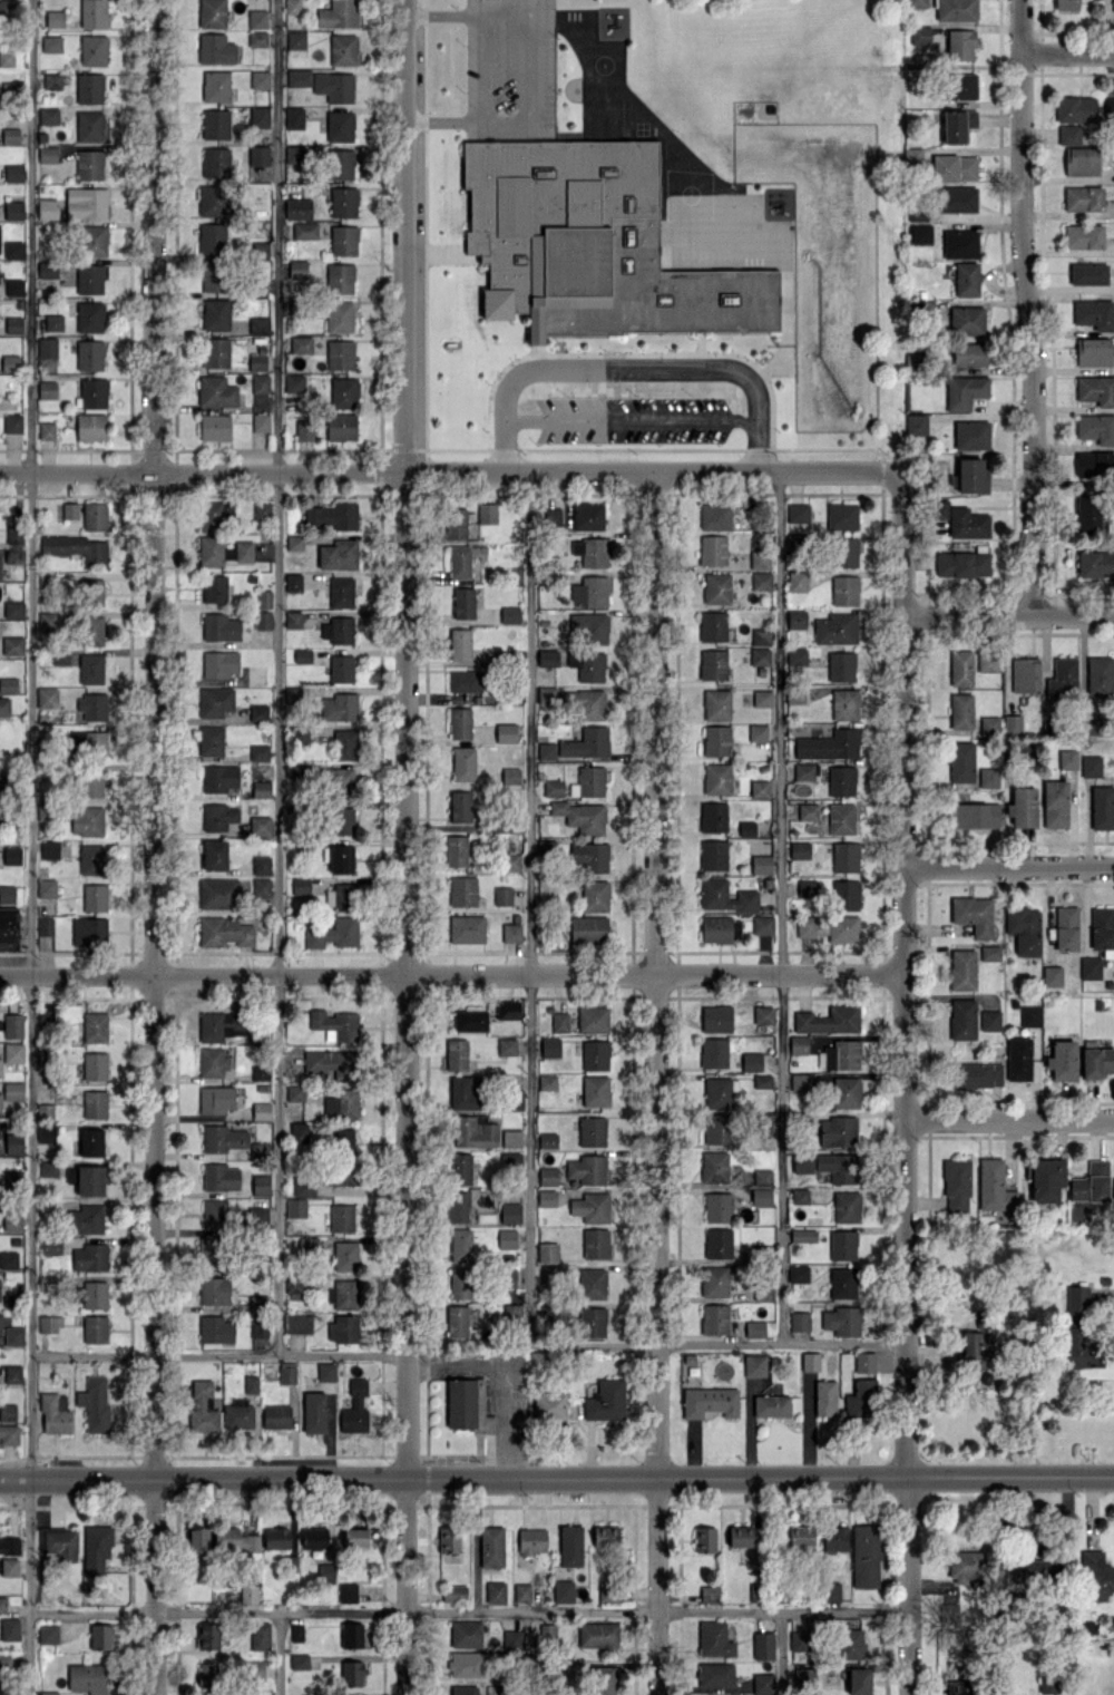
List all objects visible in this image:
road: (520, 12)
road: (1067, 50)
road: (483, 66)
road: (465, 120)
road: (1026, 306)
road: (626, 368)
road: (627, 418)
road: (451, 469)
road: (1008, 612)
road: (278, 674)
road: (31, 847)
road: (154, 847)
road: (409, 847)
road: (1009, 866)
road: (530, 905)
road: (779, 906)
road: (451, 974)
road: (652, 1082)
road: (905, 1082)
road: (1009, 1121)
road: (719, 1344)
road: (219, 1352)
road: (504, 1375)
road: (556, 1480)
road: (468, 1610)
road: (781, 1652)
road: (531, 1653)
road: (280, 1654)

